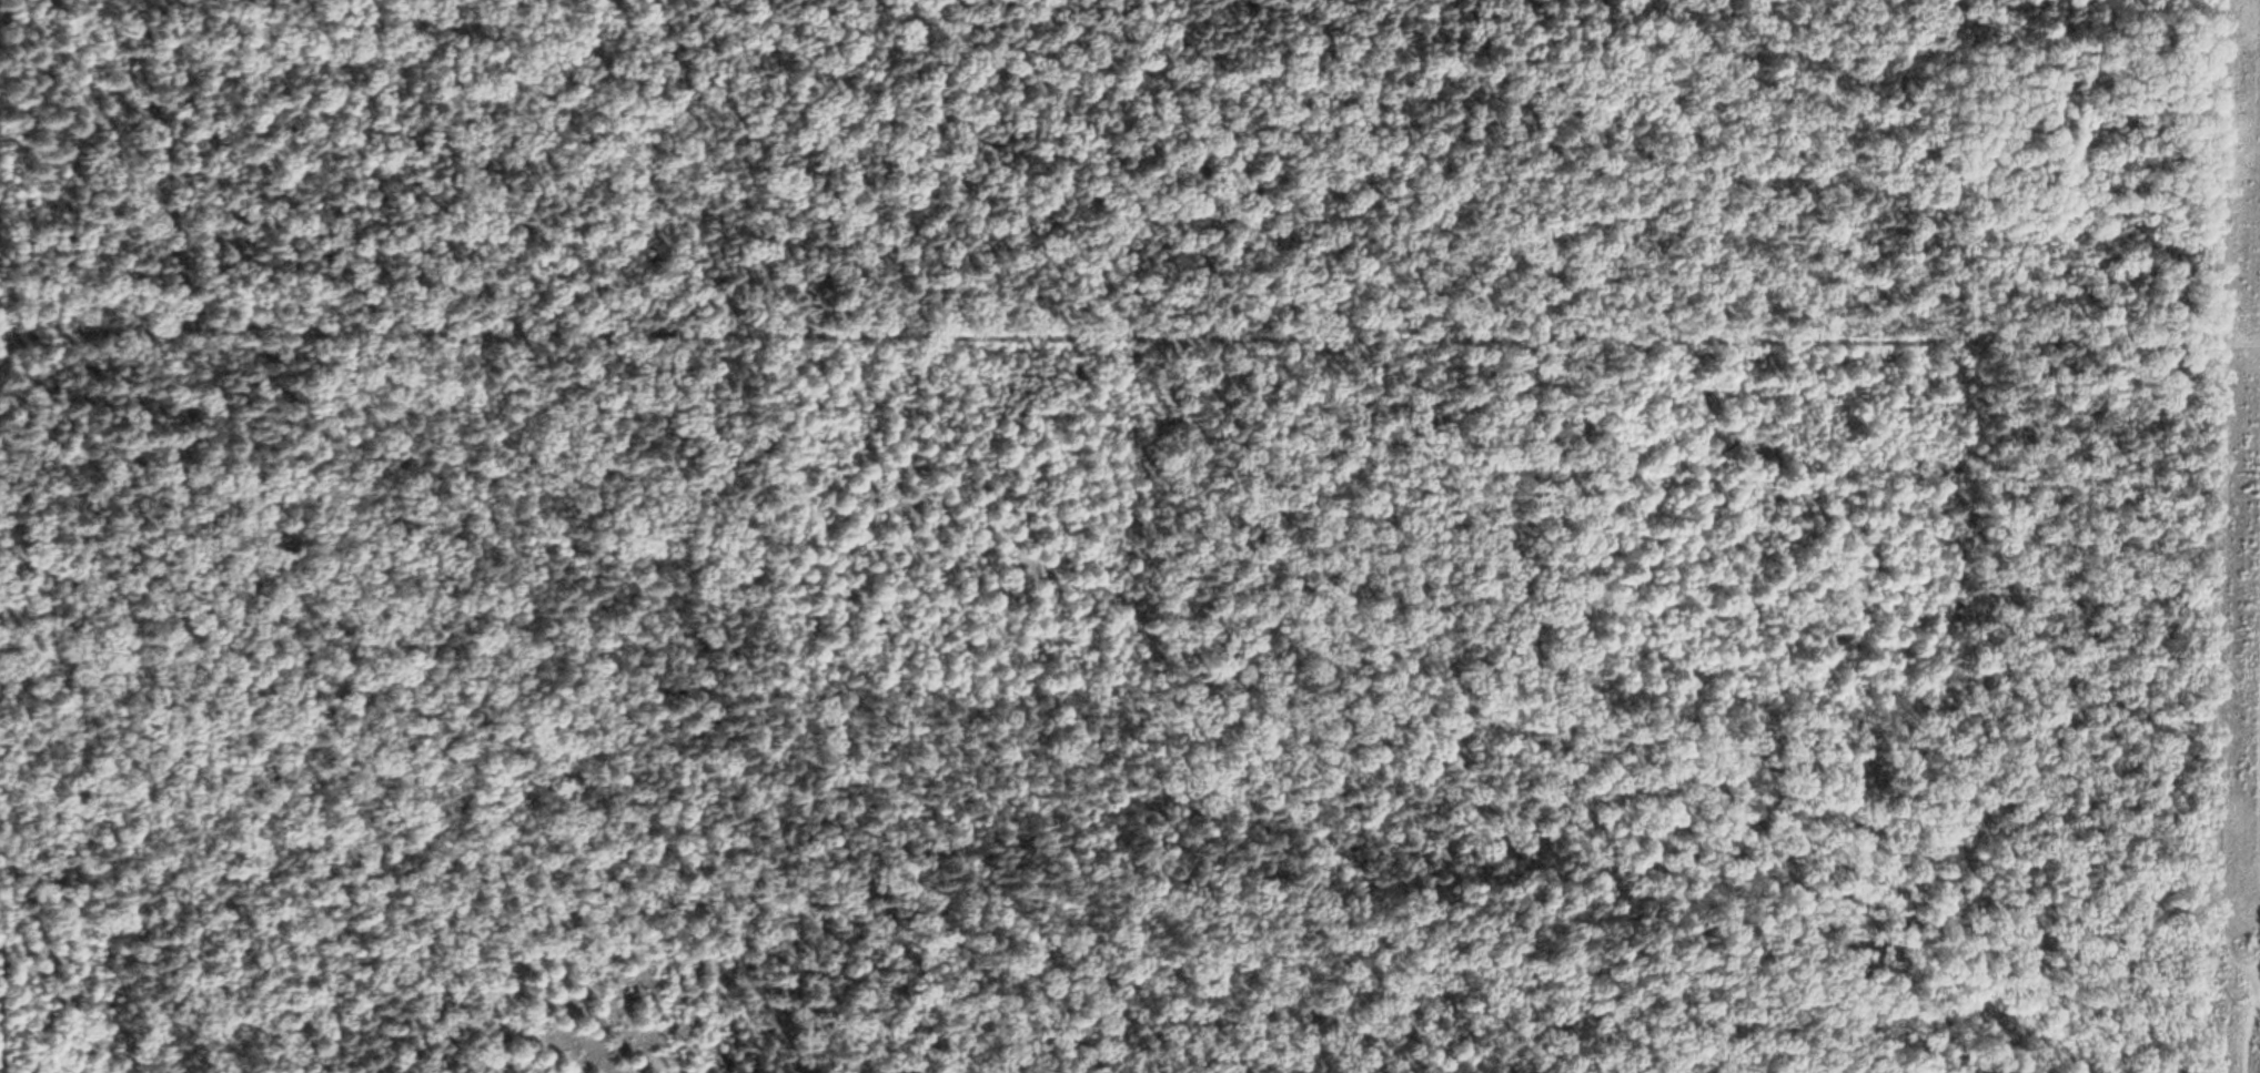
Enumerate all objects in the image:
road: (2221, 165)
road: (1130, 320)
road: (487, 443)
road: (821, 933)

